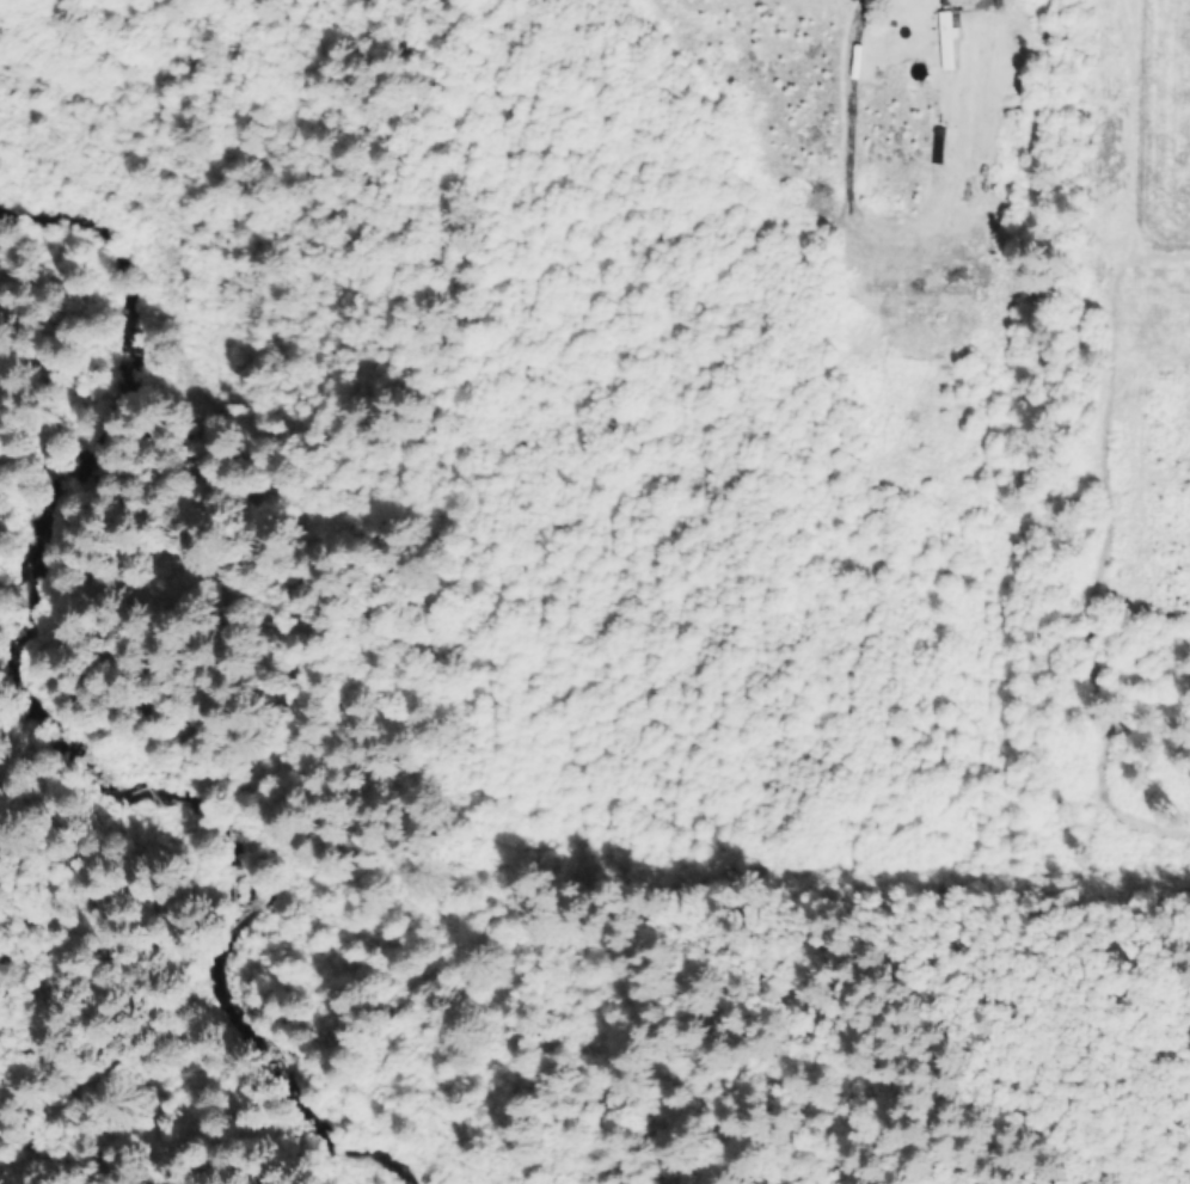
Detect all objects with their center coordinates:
building: (944, 41)
building: (1004, 185)

